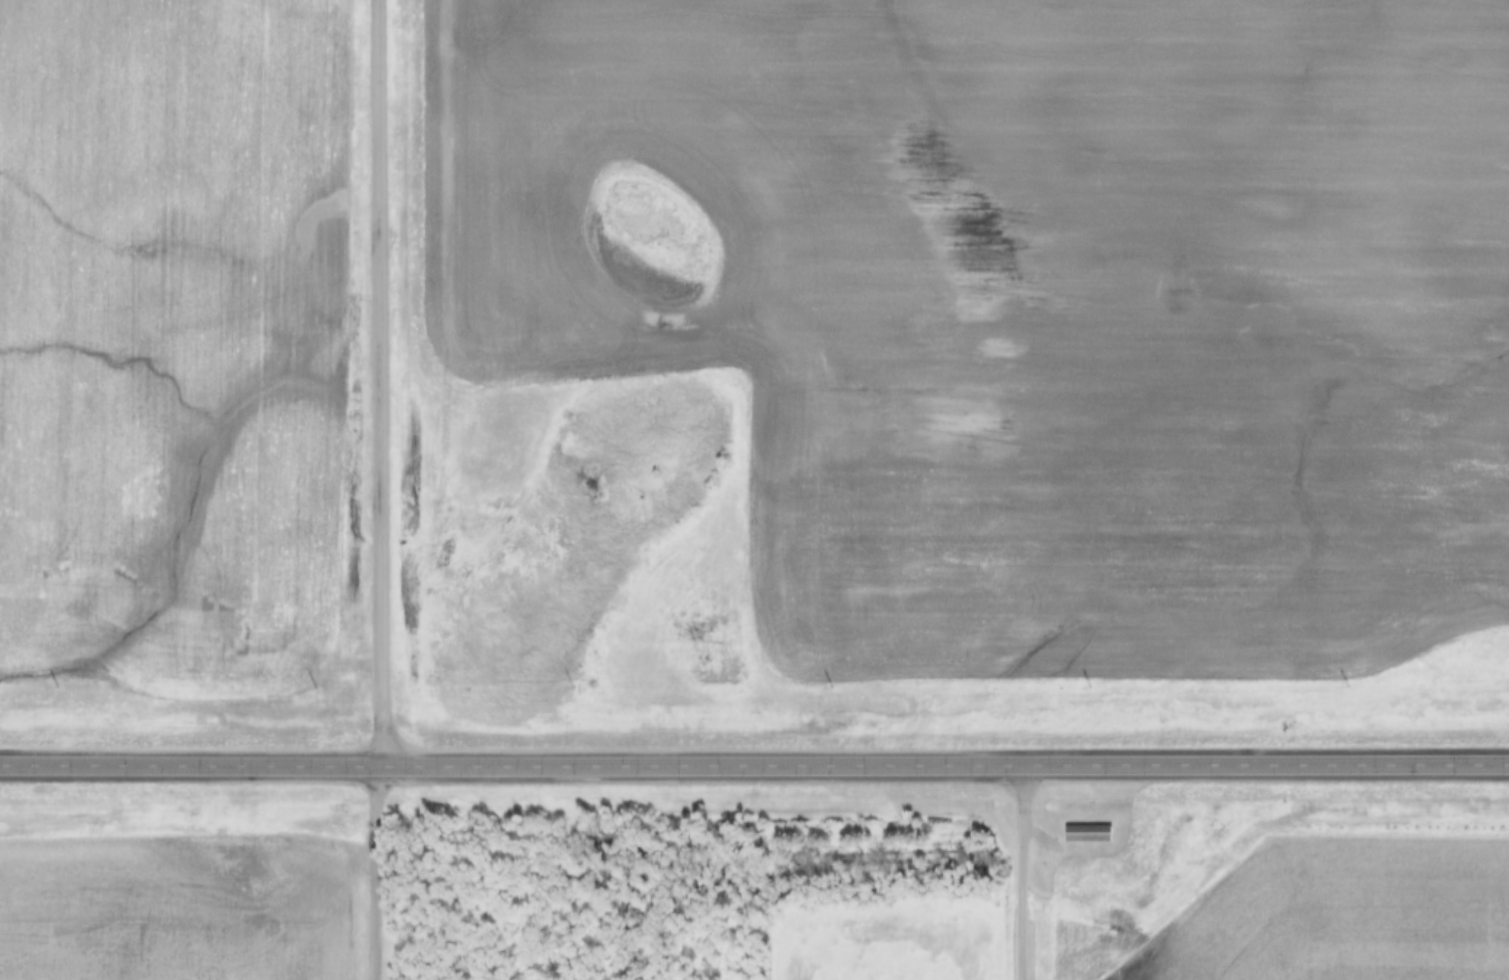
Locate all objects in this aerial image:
road: (382, 384)
road: (754, 768)
building: (1086, 834)
road: (371, 873)
road: (1024, 873)

